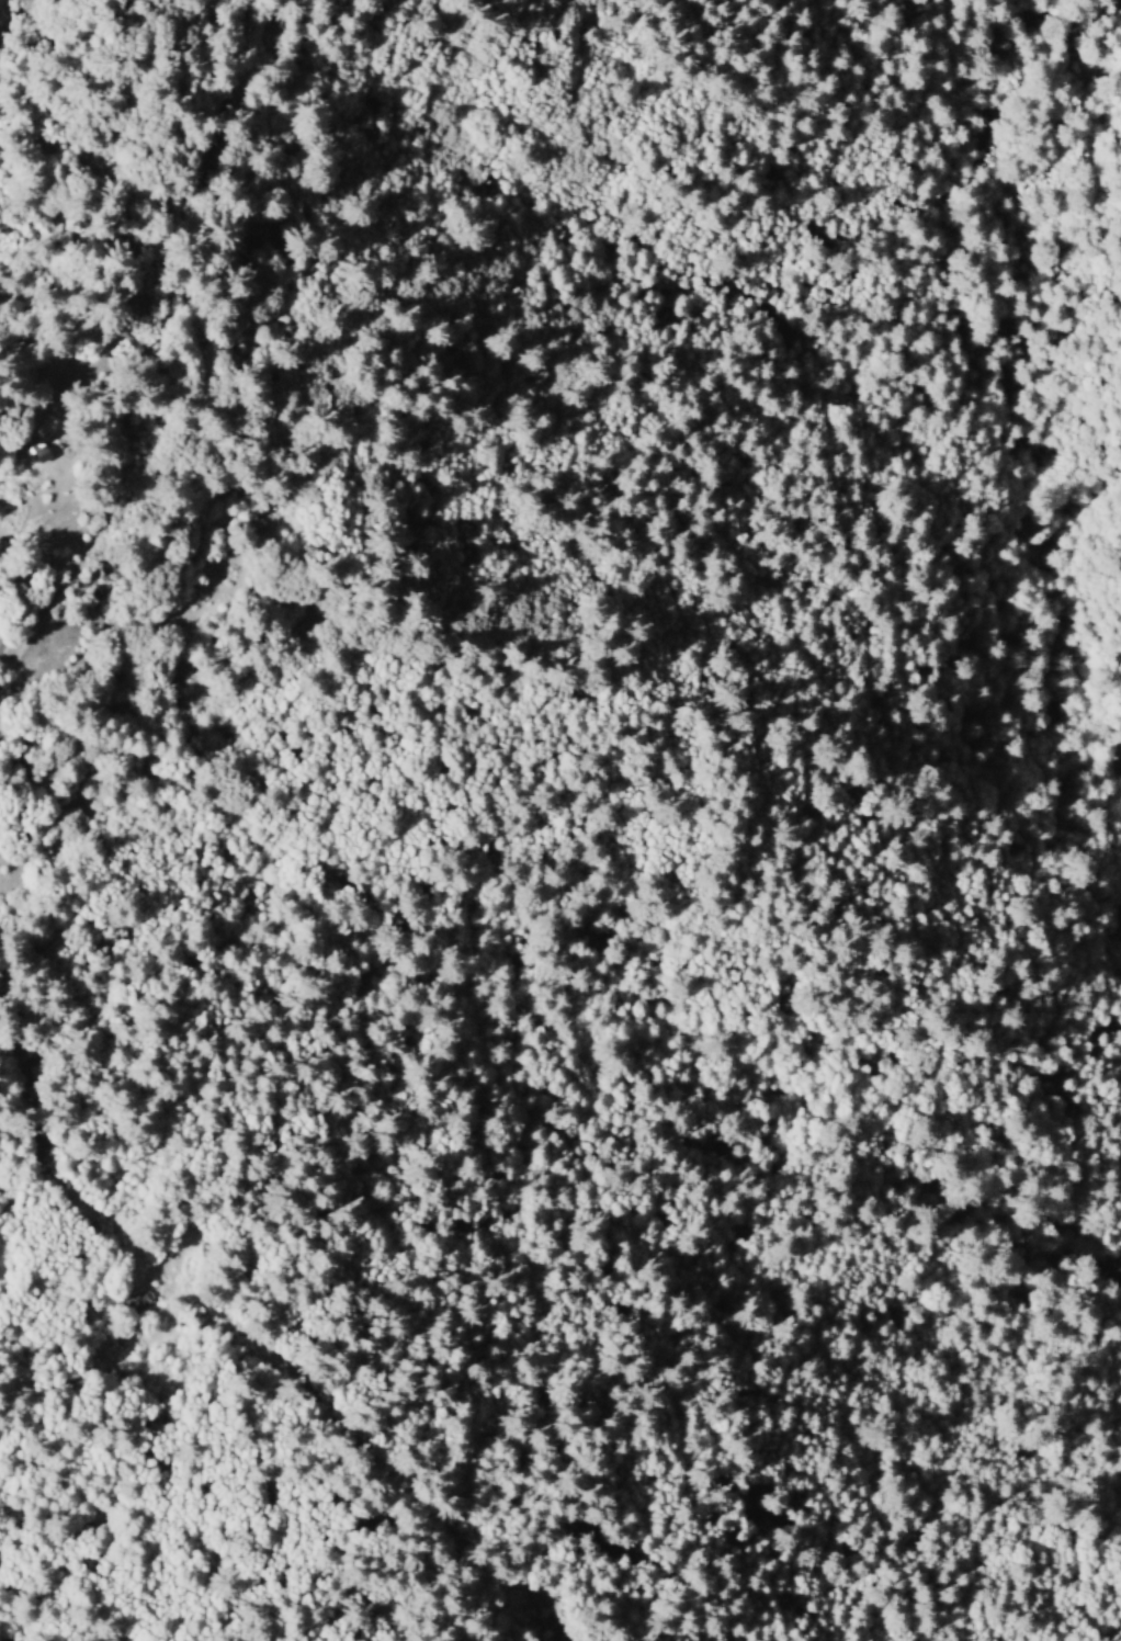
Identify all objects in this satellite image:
road: (163, 349)

